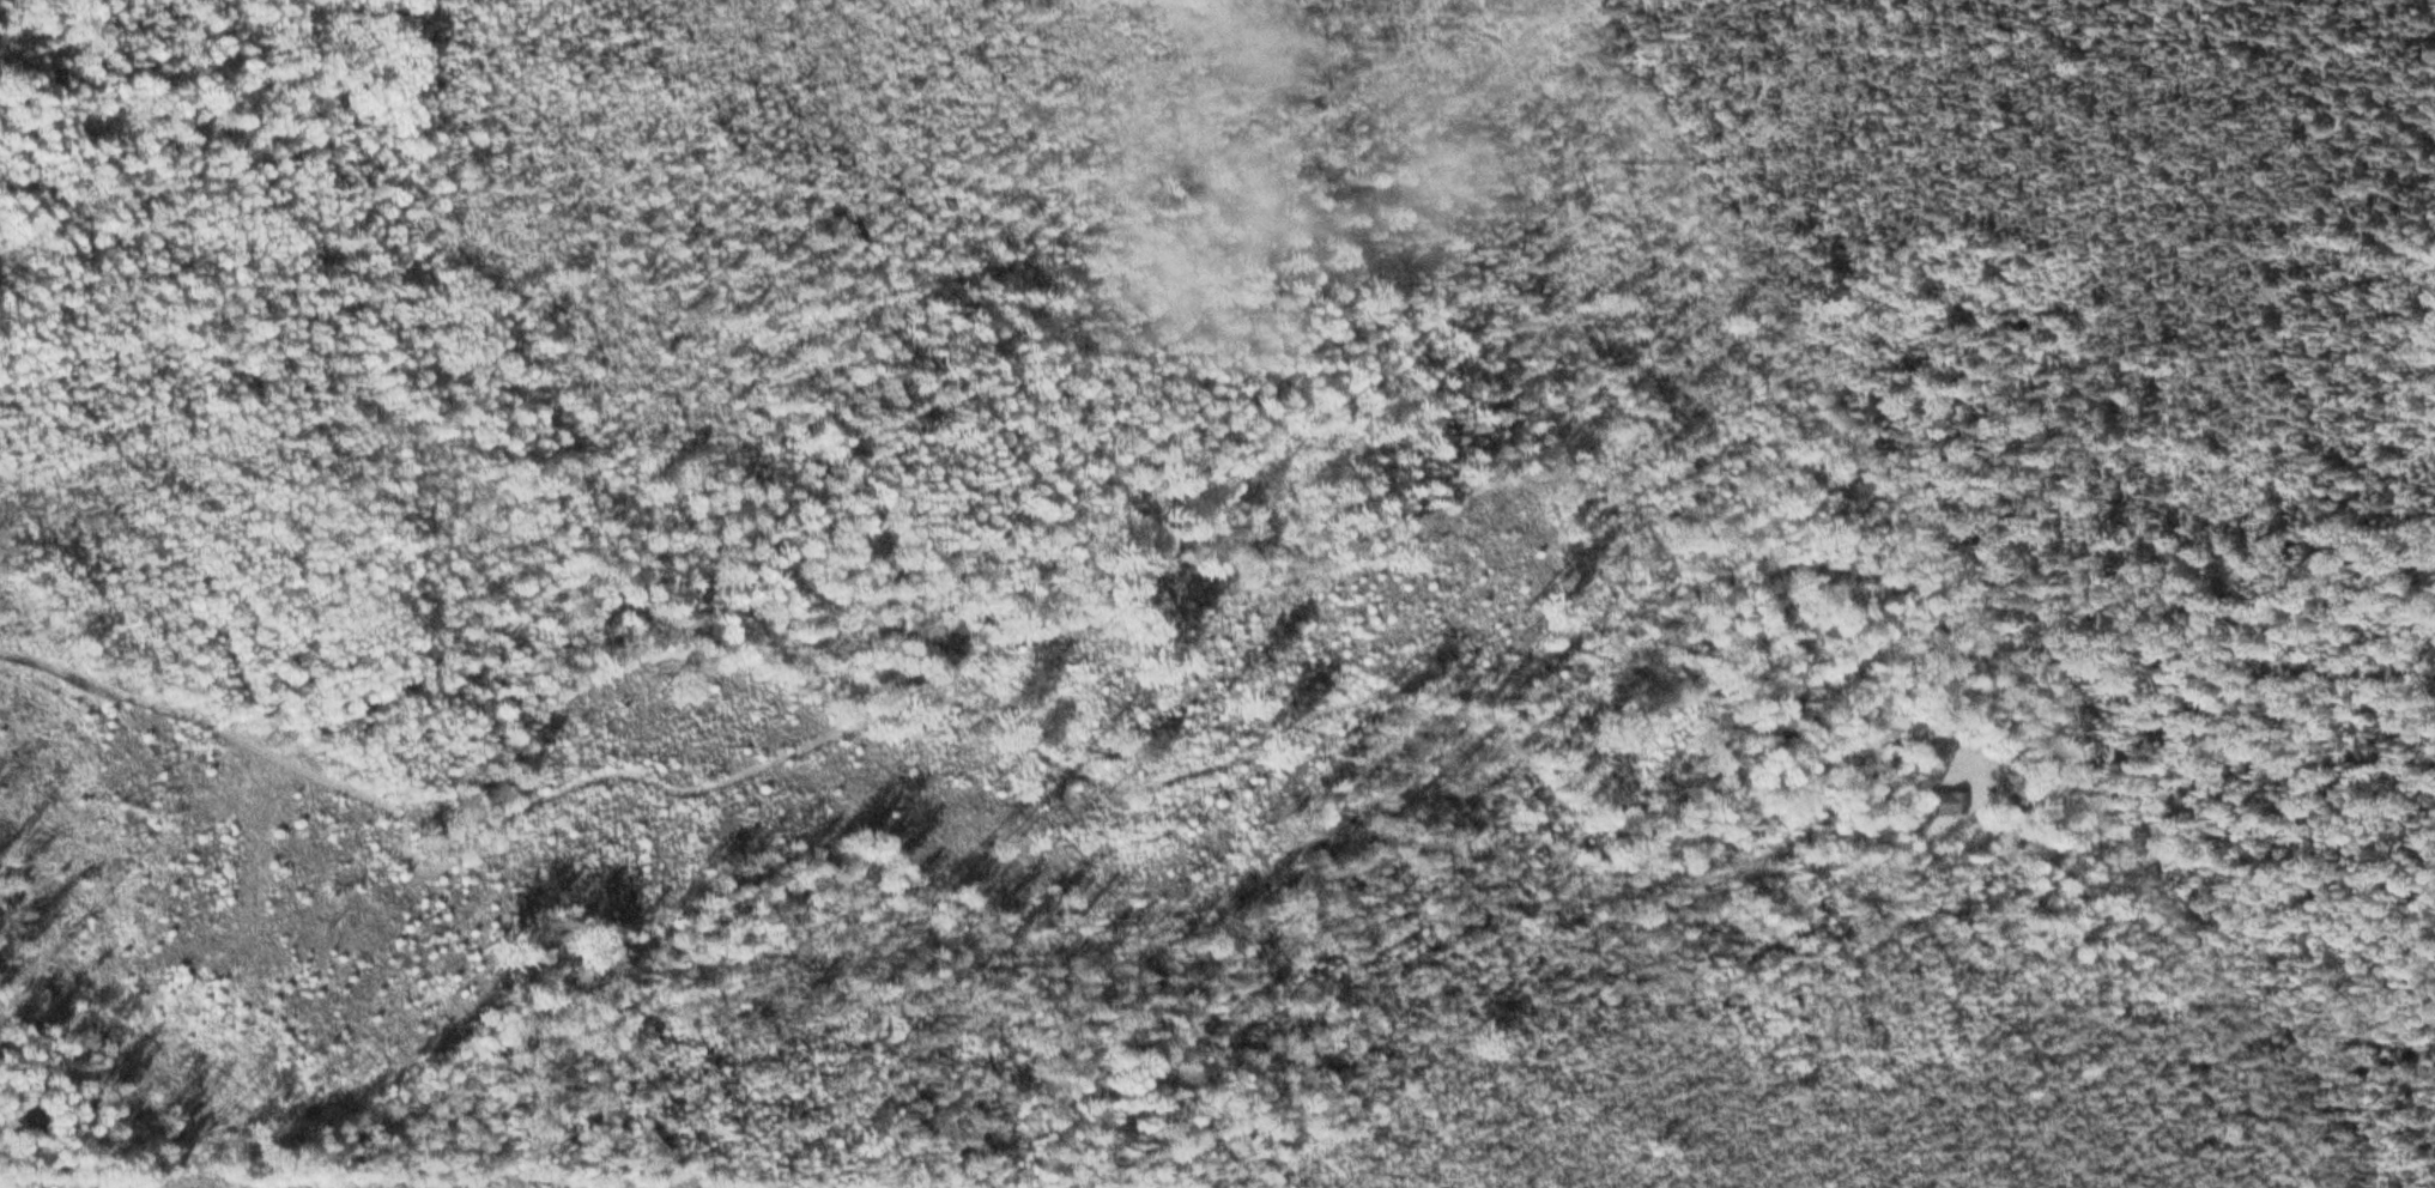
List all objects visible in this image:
road: (2228, 775)

